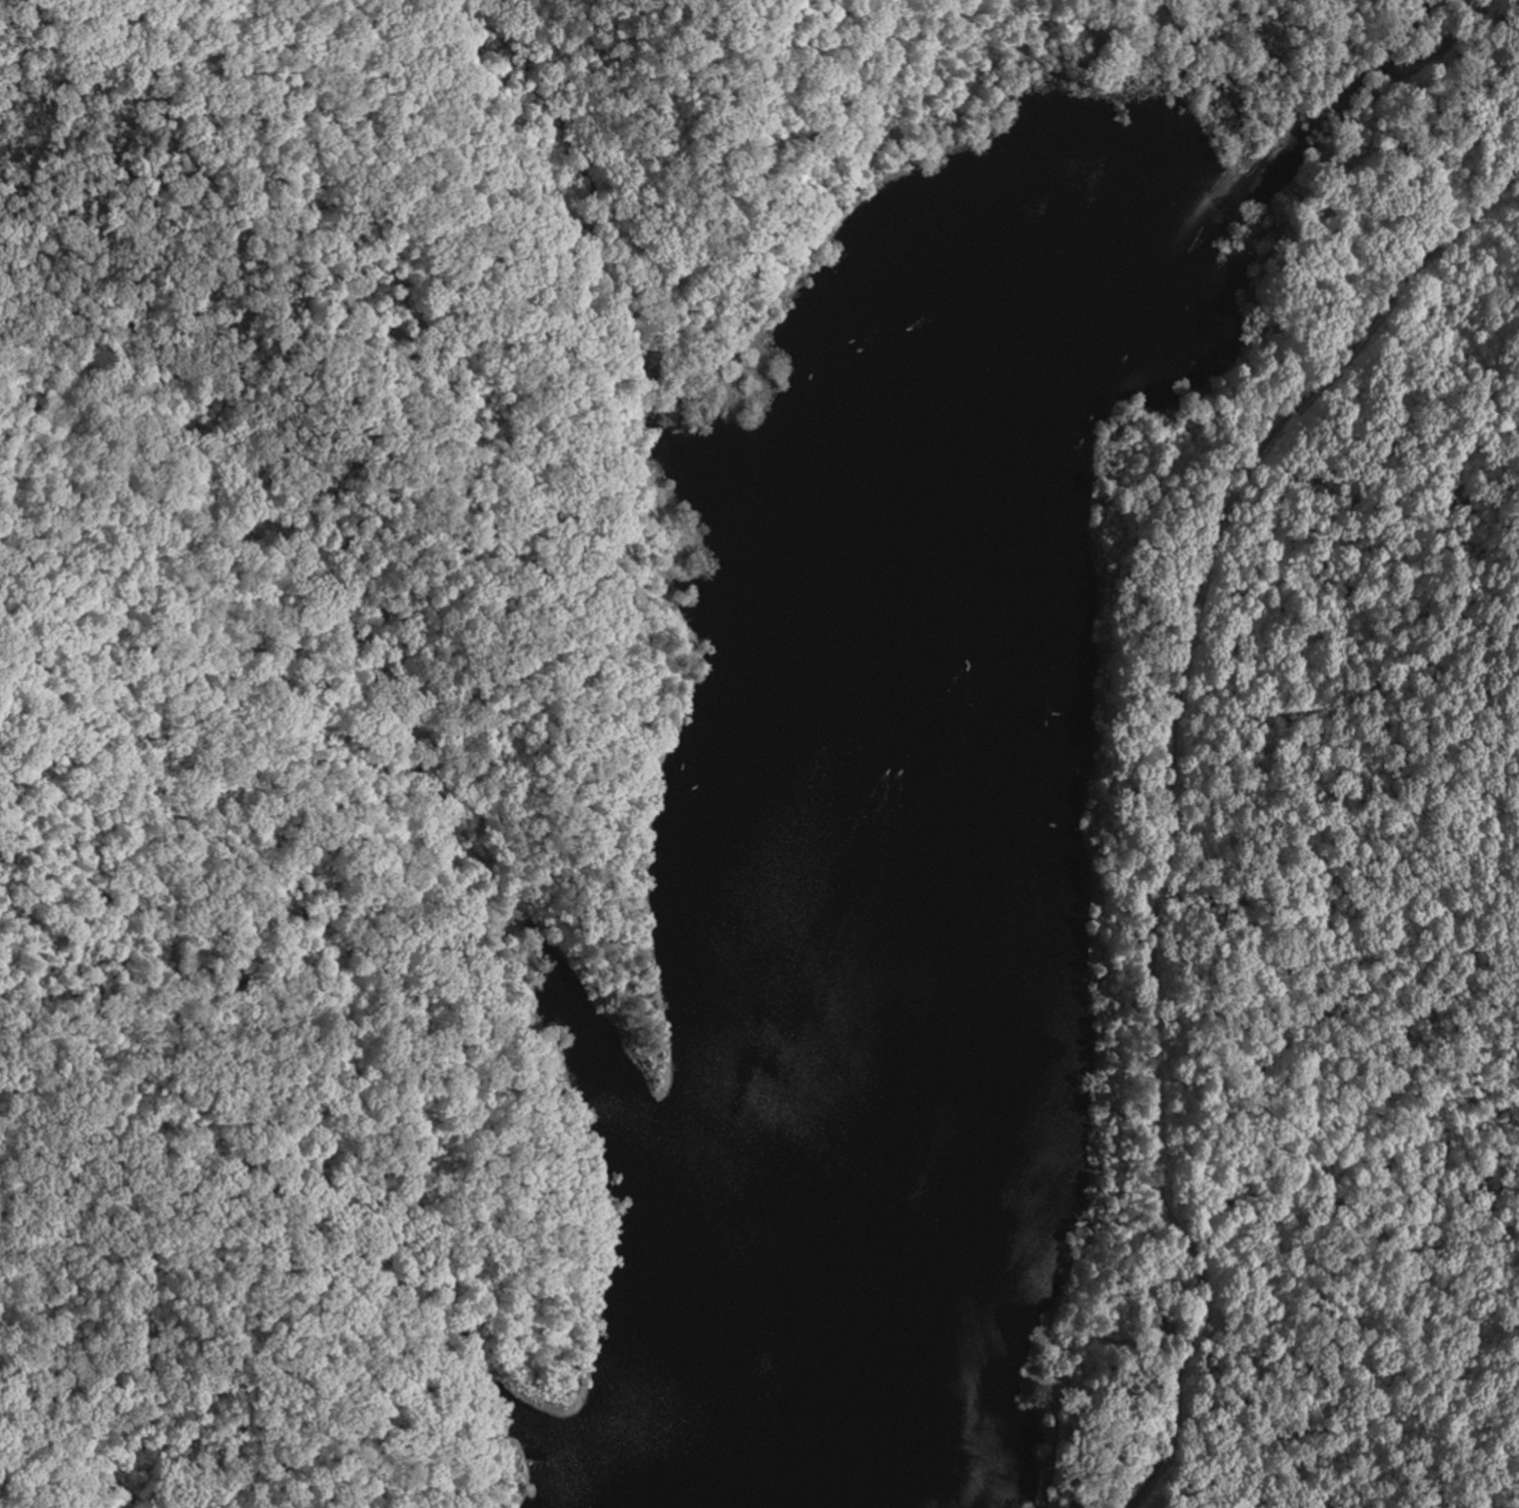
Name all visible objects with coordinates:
road: (1174, 791)
road: (1055, 1445)

